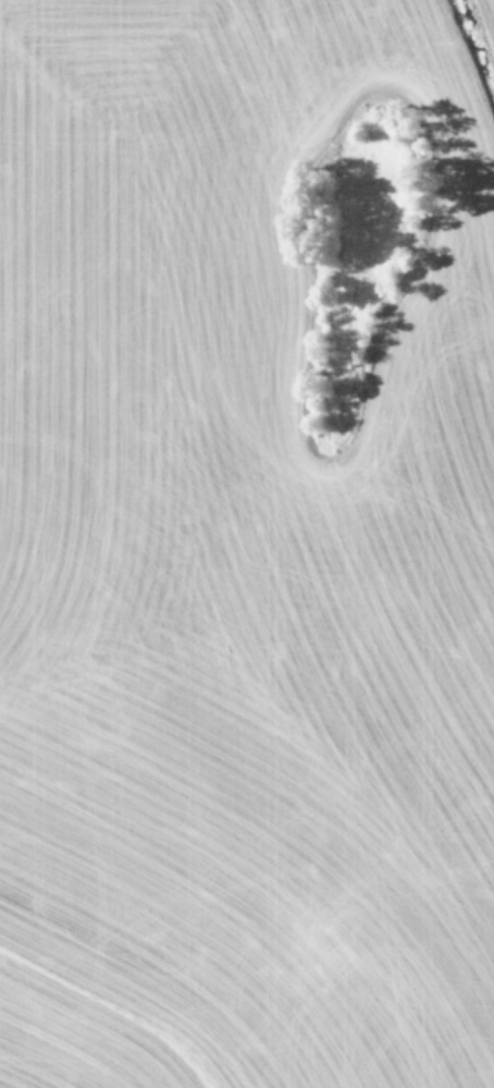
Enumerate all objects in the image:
crop: (247, 543)

